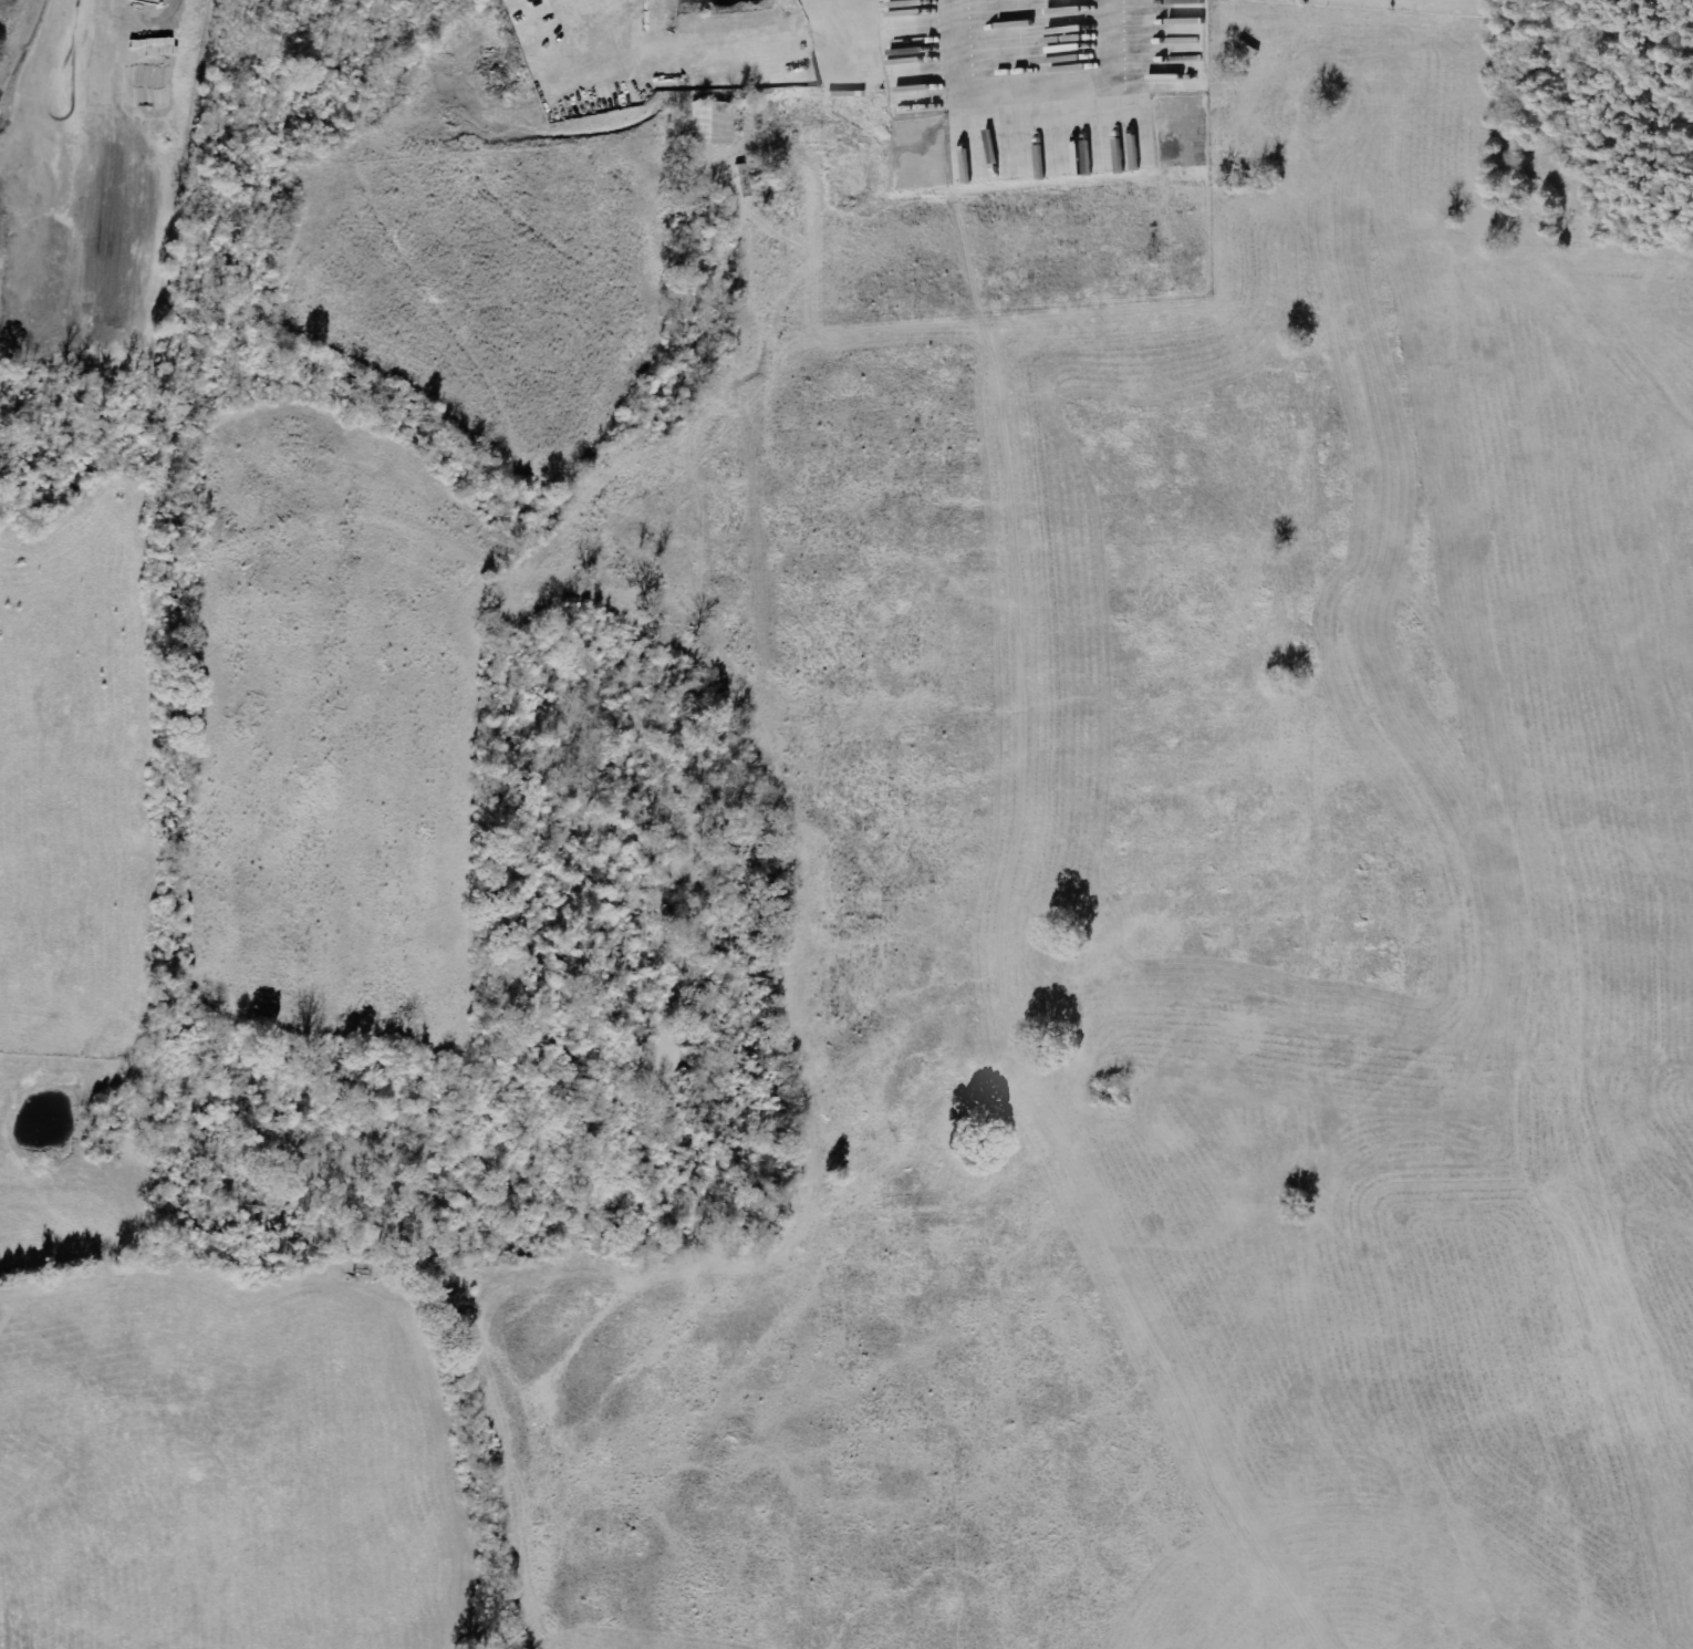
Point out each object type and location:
building: (707, 122)

